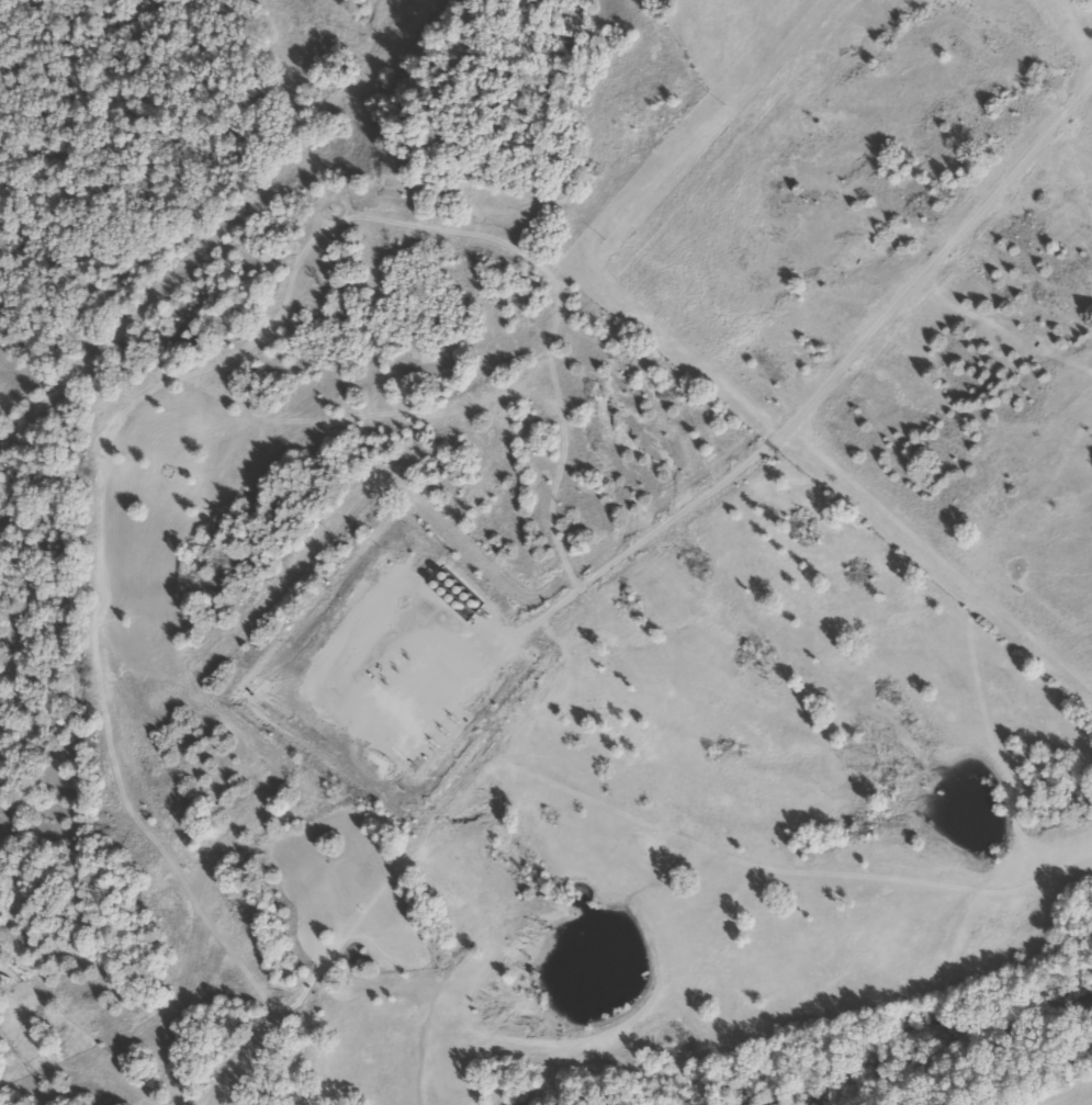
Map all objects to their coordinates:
road: (807, 404)

